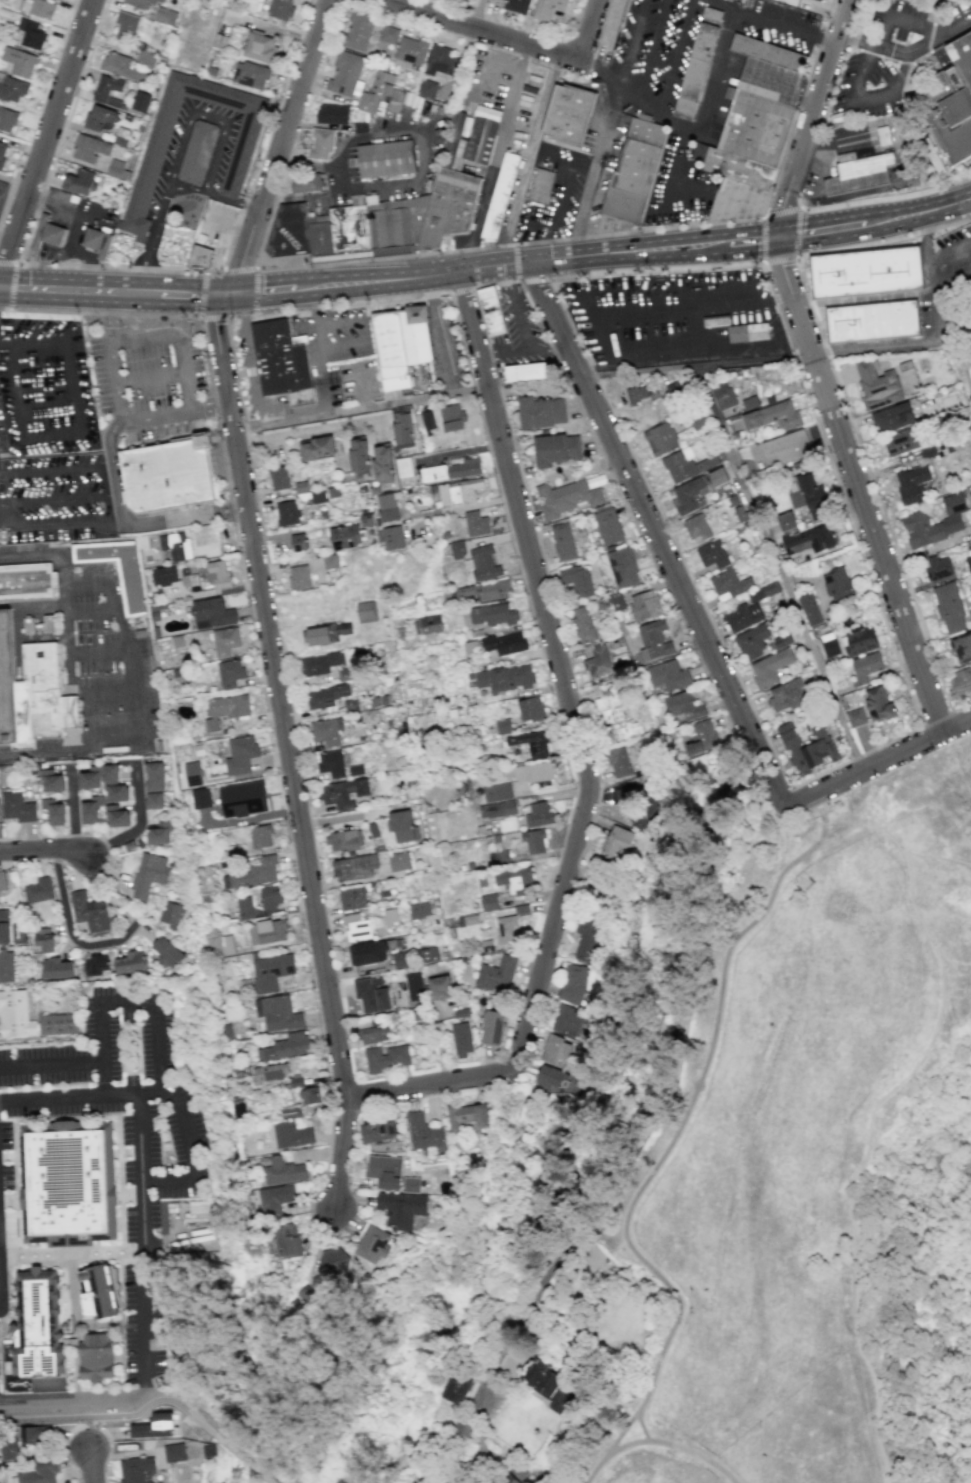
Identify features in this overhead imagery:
building: (818, 0)
building: (141, 3)
road: (205, 3)
building: (516, 5)
building: (41, 8)
building: (545, 8)
building: (280, 9)
road: (480, 13)
building: (165, 15)
road: (901, 21)
road: (773, 24)
building: (125, 26)
road: (483, 29)
road: (587, 29)
building: (357, 30)
road: (682, 33)
road: (937, 33)
building: (30, 34)
building: (388, 34)
road: (630, 45)
building: (259, 46)
building: (409, 51)
road: (651, 52)
building: (146, 58)
parking lot: (897, 58)
building: (439, 60)
building: (19, 61)
building: (698, 64)
building: (120, 66)
building: (249, 74)
building: (346, 74)
road: (714, 79)
building: (12, 88)
building: (426, 88)
building: (106, 90)
building: (377, 92)
road: (666, 92)
road: (864, 99)
building: (140, 101)
road: (826, 103)
building: (954, 103)
building: (331, 113)
building: (99, 117)
building: (570, 117)
road: (813, 117)
building: (7, 118)
road: (664, 119)
road: (186, 124)
building: (754, 130)
road: (46, 137)
building: (469, 138)
building: (320, 144)
road: (278, 147)
building: (89, 148)
building: (2, 152)
building: (197, 152)
building: (239, 153)
building: (386, 159)
road: (498, 159)
road: (525, 160)
road: (305, 162)
building: (117, 169)
building: (636, 169)
building: (860, 173)
road: (423, 174)
road: (11, 181)
building: (79, 181)
road: (15, 182)
building: (305, 182)
road: (186, 187)
road: (589, 190)
building: (543, 191)
building: (500, 196)
road: (885, 197)
road: (272, 208)
road: (766, 214)
parking lot: (215, 223)
building: (375, 224)
road: (230, 227)
building: (46, 233)
traffic signals: (780, 237)
road: (883, 238)
building: (96, 241)
road: (508, 244)
building: (199, 257)
road: (515, 261)
road: (7, 263)
road: (924, 264)
road: (153, 269)
road: (487, 270)
building: (865, 272)
road: (255, 273)
parking lot: (946, 278)
road: (534, 279)
road: (12, 286)
road: (460, 289)
traffic signals: (227, 293)
road: (473, 293)
road: (528, 298)
road: (515, 307)
road: (198, 310)
building: (491, 311)
road: (98, 312)
parking lot: (666, 313)
road: (240, 314)
building: (871, 321)
building: (748, 333)
road: (441, 335)
road: (921, 342)
building: (400, 344)
road: (315, 351)
road: (504, 352)
road: (548, 353)
parking lot: (339, 354)
road: (250, 359)
building: (281, 361)
road: (755, 361)
building: (525, 371)
road: (150, 376)
road: (470, 376)
road: (70, 380)
parking lot: (147, 380)
building: (876, 385)
building: (672, 388)
road: (362, 389)
road: (14, 390)
building: (636, 394)
building: (722, 394)
building: (750, 402)
road: (210, 407)
road: (362, 408)
building: (540, 411)
building: (773, 416)
road: (161, 417)
road: (216, 417)
building: (451, 417)
building: (892, 417)
building: (427, 423)
road: (310, 427)
building: (402, 427)
parking lot: (48, 436)
road: (246, 438)
building: (660, 439)
building: (902, 441)
building: (787, 446)
building: (316, 448)
building: (555, 449)
building: (358, 454)
building: (382, 463)
building: (686, 465)
building: (403, 467)
building: (451, 470)
road: (48, 471)
building: (167, 473)
building: (718, 476)
building: (278, 477)
road: (872, 483)
building: (911, 483)
road: (857, 485)
building: (458, 492)
road: (100, 495)
building: (688, 495)
building: (810, 496)
building: (566, 497)
road: (50, 500)
building: (386, 507)
building: (286, 512)
road: (52, 519)
building: (786, 521)
building: (915, 521)
building: (475, 523)
road: (131, 524)
building: (607, 526)
building: (696, 526)
road: (656, 535)
building: (345, 536)
building: (392, 537)
building: (809, 539)
building: (562, 541)
building: (298, 542)
building: (175, 545)
building: (457, 549)
road: (30, 554)
building: (712, 554)
building: (329, 561)
building: (483, 562)
building: (968, 563)
building: (622, 567)
building: (937, 567)
road: (777, 568)
road: (62, 569)
building: (119, 572)
building: (164, 575)
building: (218, 575)
building: (298, 576)
building: (576, 580)
building: (729, 584)
building: (837, 584)
building: (484, 590)
building: (763, 591)
road: (111, 595)
building: (644, 605)
building: (949, 607)
building: (809, 609)
road: (92, 610)
building: (365, 611)
building: (211, 613)
building: (969, 613)
building: (493, 614)
building: (742, 616)
building: (427, 624)
building: (583, 624)
building: (324, 633)
building: (783, 639)
building: (224, 640)
building: (653, 640)
building: (177, 641)
building: (752, 641)
building: (860, 641)
building: (504, 643)
building: (828, 646)
building: (960, 647)
road: (86, 651)
building: (597, 661)
building: (318, 663)
building: (30, 665)
building: (866, 666)
building: (770, 667)
building: (229, 672)
building: (344, 674)
building: (668, 675)
building: (505, 678)
building: (960, 681)
road: (130, 690)
road: (279, 692)
building: (788, 695)
building: (325, 696)
building: (878, 703)
building: (683, 705)
building: (225, 709)
building: (529, 709)
building: (613, 714)
building: (855, 717)
road: (759, 725)
building: (502, 726)
road: (958, 727)
building: (327, 731)
building: (702, 737)
building: (530, 742)
building: (807, 747)
road: (74, 752)
road: (584, 753)
building: (240, 754)
building: (617, 761)
building: (330, 763)
road: (878, 763)
building: (533, 772)
building: (192, 773)
building: (154, 776)
building: (50, 781)
building: (104, 781)
building: (342, 792)
building: (496, 792)
building: (625, 792)
building: (200, 797)
building: (242, 798)
building: (154, 800)
road: (797, 800)
building: (16, 807)
building: (90, 809)
building: (496, 809)
building: (53, 811)
parking lot: (801, 811)
building: (644, 812)
building: (538, 814)
building: (116, 816)
building: (402, 826)
building: (159, 833)
road: (59, 835)
building: (260, 836)
building: (342, 840)
building: (615, 840)
building: (533, 841)
road: (908, 843)
road: (102, 848)
building: (398, 861)
building: (354, 867)
building: (148, 874)
building: (251, 874)
building: (515, 879)
building: (2, 882)
building: (38, 890)
building: (270, 897)
building: (352, 898)
building: (488, 902)
building: (243, 907)
building: (419, 910)
building: (89, 911)
building: (169, 913)
building: (390, 917)
building: (4, 926)
building: (356, 927)
building: (506, 928)
road: (70, 931)
building: (266, 931)
building: (585, 934)
building: (44, 939)
building: (218, 945)
building: (166, 952)
building: (367, 952)
building: (429, 954)
building: (399, 959)
building: (129, 962)
building: (6, 965)
building: (94, 965)
building: (56, 968)
building: (270, 971)
building: (496, 974)
road: (940, 982)
building: (572, 983)
building: (414, 986)
building: (439, 987)
building: (371, 994)
road: (133, 1009)
building: (277, 1013)
building: (15, 1014)
building: (565, 1020)
building: (57, 1023)
building: (492, 1027)
building: (374, 1034)
building: (461, 1039)
building: (285, 1046)
building: (553, 1050)
building: (385, 1057)
building: (269, 1072)
building: (549, 1076)
building: (295, 1081)
road: (102, 1084)
road: (149, 1094)
building: (309, 1095)
road: (1, 1106)
building: (238, 1107)
building: (290, 1111)
building: (467, 1115)
road: (682, 1121)
road: (867, 1126)
building: (377, 1128)
building: (421, 1131)
building: (290, 1134)
road: (340, 1152)
building: (283, 1171)
building: (383, 1171)
parking lot: (166, 1179)
road: (167, 1180)
road: (139, 1181)
building: (66, 1182)
building: (409, 1184)
road: (888, 1185)
building: (274, 1198)
building: (400, 1208)
building: (200, 1209)
building: (163, 1217)
road: (849, 1232)
building: (373, 1245)
building: (333, 1264)
building: (98, 1291)
building: (302, 1296)
building: (37, 1324)
road: (899, 1350)
building: (95, 1357)
building: (177, 1369)
building: (549, 1386)
building: (455, 1388)
road: (73, 1400)
road: (1, 1404)
parking lot: (0, 1411)
road: (114, 1416)
road: (85, 1421)
road: (84, 1425)
building: (154, 1426)
building: (462, 1429)
building: (31, 1434)
road: (614, 1439)
road: (915, 1439)
road: (626, 1446)
building: (9, 1450)
building: (173, 1452)
road: (242, 1458)
road: (700, 1458)
road: (89, 1468)
building: (136, 1469)
building: (39, 1472)
road: (592, 1475)
building: (509, 1479)

